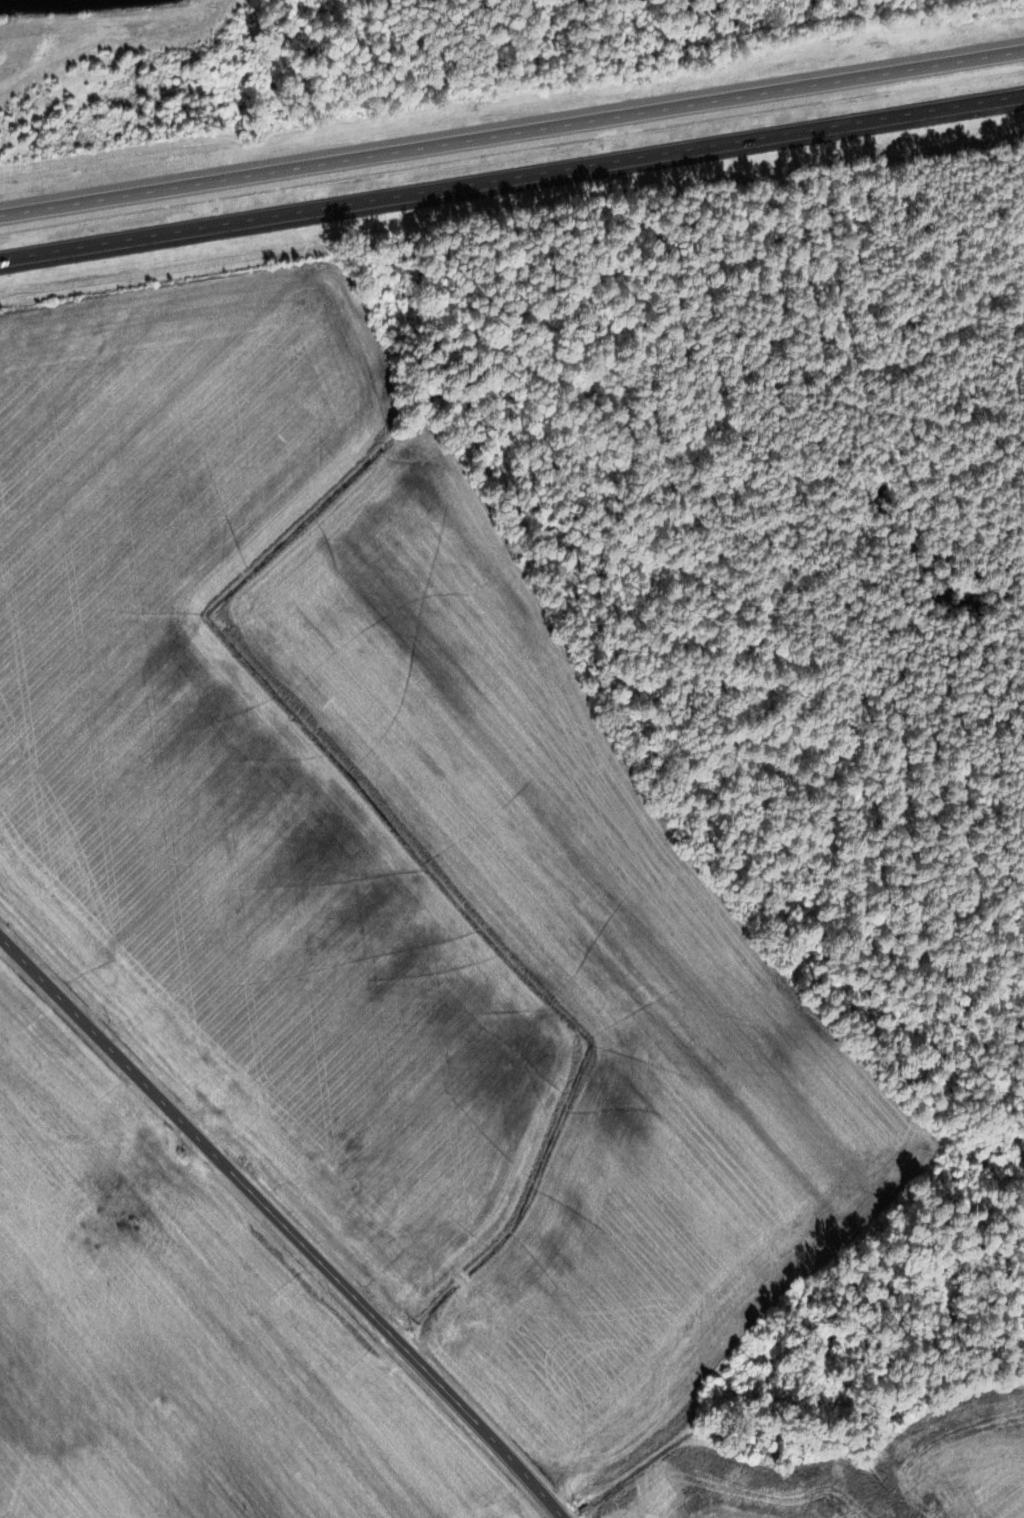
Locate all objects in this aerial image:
road: (511, 123)
road: (512, 183)
road: (284, 1224)

